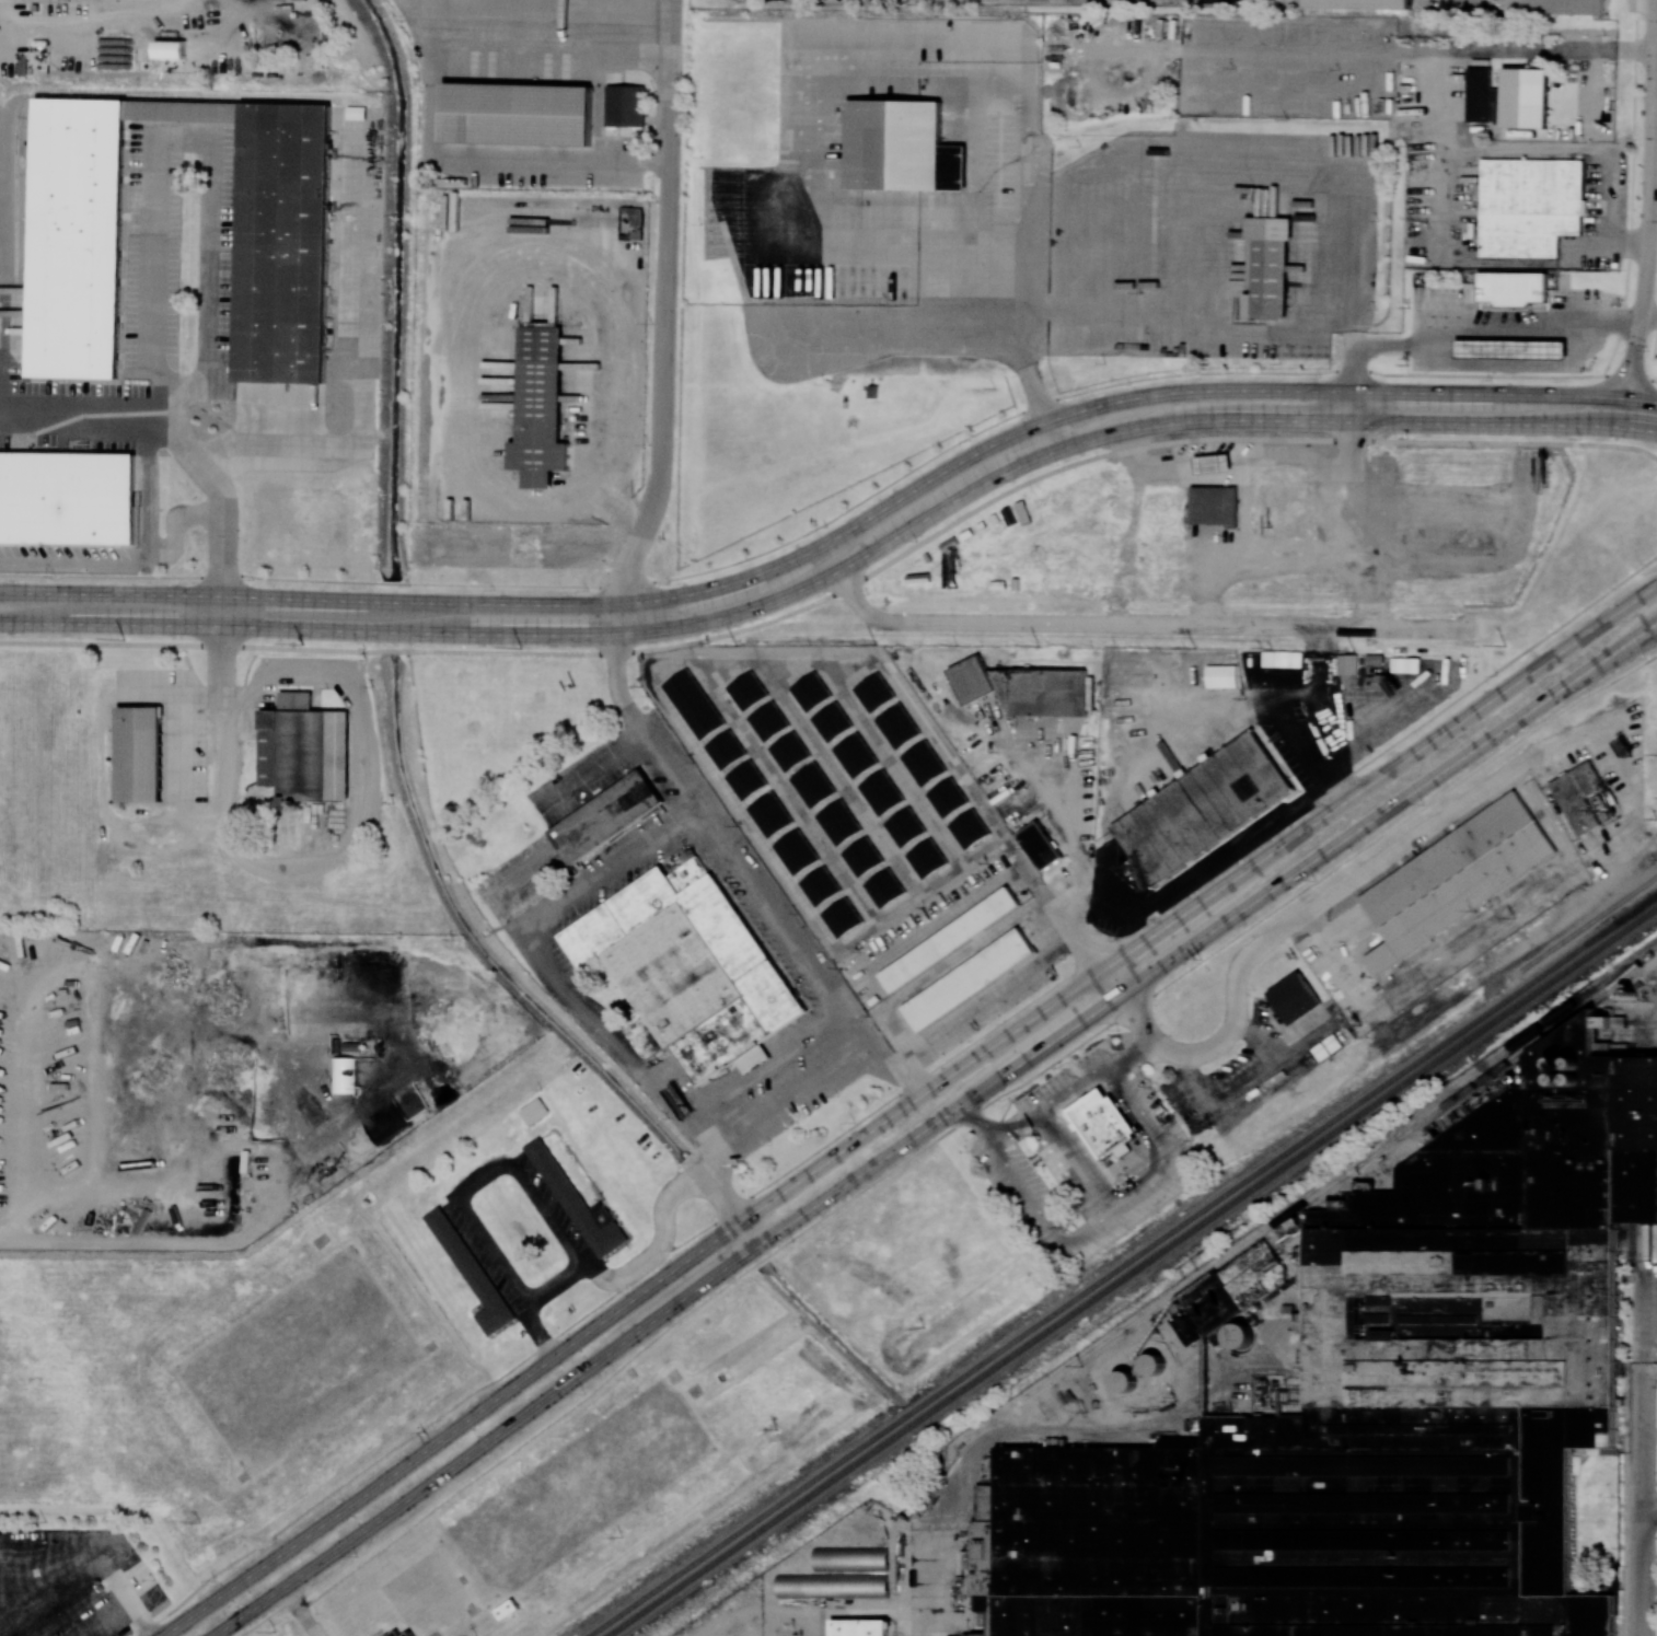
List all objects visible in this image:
building: (1359, 4)
building: (1557, 7)
road: (93, 15)
road: (548, 24)
building: (171, 49)
building: (1479, 94)
building: (1525, 98)
building: (627, 106)
building: (520, 115)
road: (1445, 124)
building: (896, 146)
road: (484, 160)
road: (1252, 167)
road: (818, 189)
road: (1654, 199)
building: (1530, 206)
building: (82, 237)
building: (288, 245)
building: (1266, 268)
road: (484, 269)
road: (984, 272)
building: (1513, 288)
road: (667, 321)
road: (1647, 324)
road: (1478, 330)
building: (1513, 352)
road: (1353, 405)
building: (540, 407)
road: (1237, 438)
road: (1247, 450)
road: (283, 452)
building: (1210, 463)
road: (150, 491)
building: (70, 503)
road: (223, 503)
building: (1213, 506)
road: (1348, 507)
road: (837, 514)
road: (838, 534)
road: (1293, 556)
road: (841, 569)
building: (1324, 582)
road: (1142, 625)
road: (429, 653)
building: (1348, 664)
road: (1497, 669)
building: (1221, 675)
building: (1023, 687)
building: (748, 691)
building: (811, 692)
building: (874, 692)
road: (198, 697)
building: (694, 704)
building: (768, 721)
building: (832, 721)
building: (897, 726)
road: (1312, 749)
building: (304, 750)
building: (726, 750)
building: (789, 751)
building: (140, 754)
building: (855, 755)
building: (923, 763)
building: (746, 779)
building: (812, 785)
building: (881, 792)
building: (1577, 797)
building: (947, 798)
building: (1202, 808)
building: (770, 814)
building: (606, 816)
building: (838, 822)
building: (904, 826)
building: (969, 828)
road: (352, 836)
building: (1039, 845)
building: (796, 851)
building: (862, 856)
building: (926, 858)
road: (751, 872)
building: (1452, 882)
building: (820, 886)
building: (883, 887)
railway: (1637, 907)
building: (842, 917)
railway: (1585, 926)
building: (950, 940)
building: (688, 970)
road: (556, 976)
building: (970, 981)
building: (1295, 997)
road: (987, 1002)
road: (1127, 1009)
railway: (1518, 1052)
building: (344, 1075)
road: (1056, 1102)
road: (907, 1109)
road: (966, 1117)
building: (1110, 1124)
road: (934, 1127)
road: (1075, 1164)
road: (718, 1172)
railway: (1344, 1173)
road: (480, 1179)
building: (578, 1204)
road: (1116, 1210)
road: (740, 1213)
road: (115, 1242)
railway: (1122, 1265)
building: (471, 1270)
railway: (1132, 1272)
road: (551, 1283)
building: (1230, 1293)
road: (1645, 1306)
road: (536, 1332)
building: (1240, 1336)
building: (1151, 1364)
storage tank: (1151, 1364)
road: (1650, 1370)
building: (1123, 1381)
storage tank: (1123, 1381)
road: (337, 1486)
road: (1645, 1504)
road: (1650, 1511)
building: (850, 1557)
road: (920, 1583)
building: (832, 1585)
road: (73, 1589)
road: (124, 1610)
road: (299, 1612)
road: (265, 1618)
building: (859, 1627)
building: (395, 1633)
building: (409, 1634)

